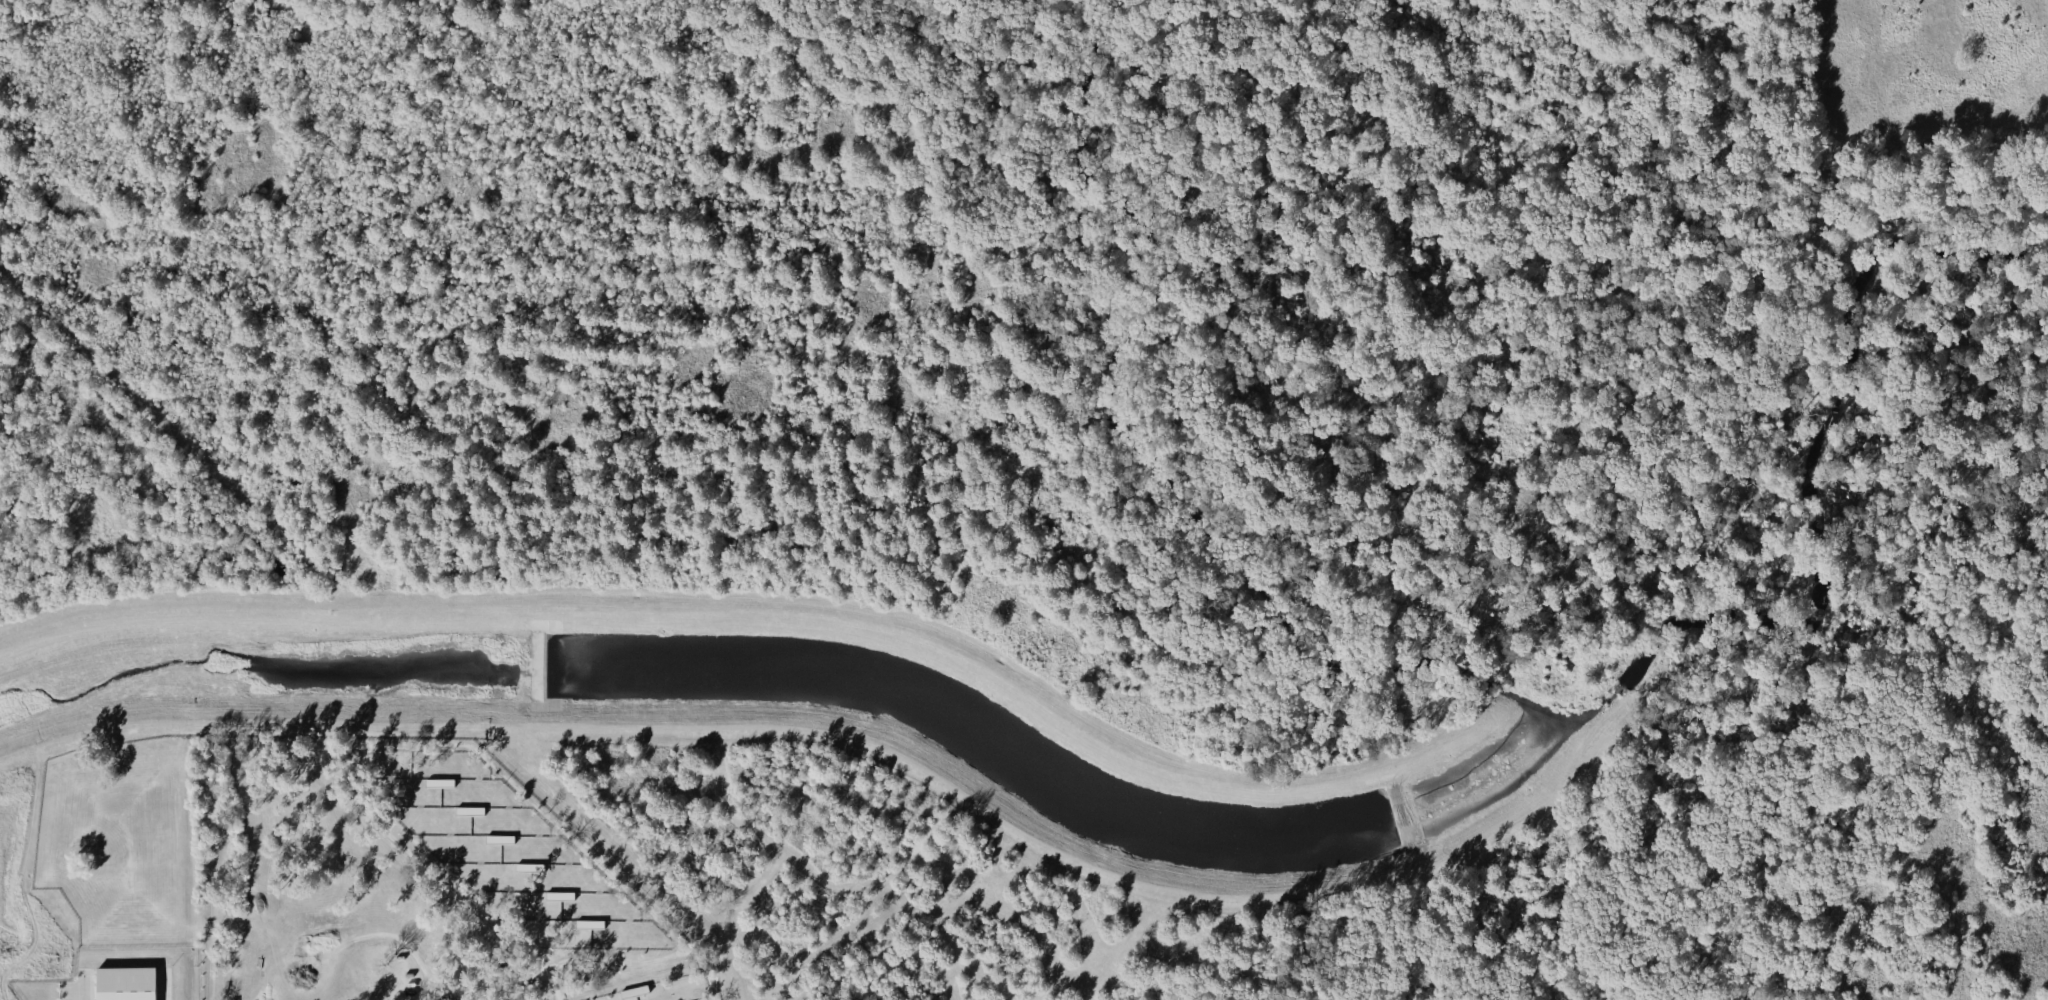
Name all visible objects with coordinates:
building: (438, 782)
building: (468, 810)
building: (498, 839)
building: (528, 866)
building: (558, 895)
building: (588, 923)
building: (124, 983)
building: (634, 991)

